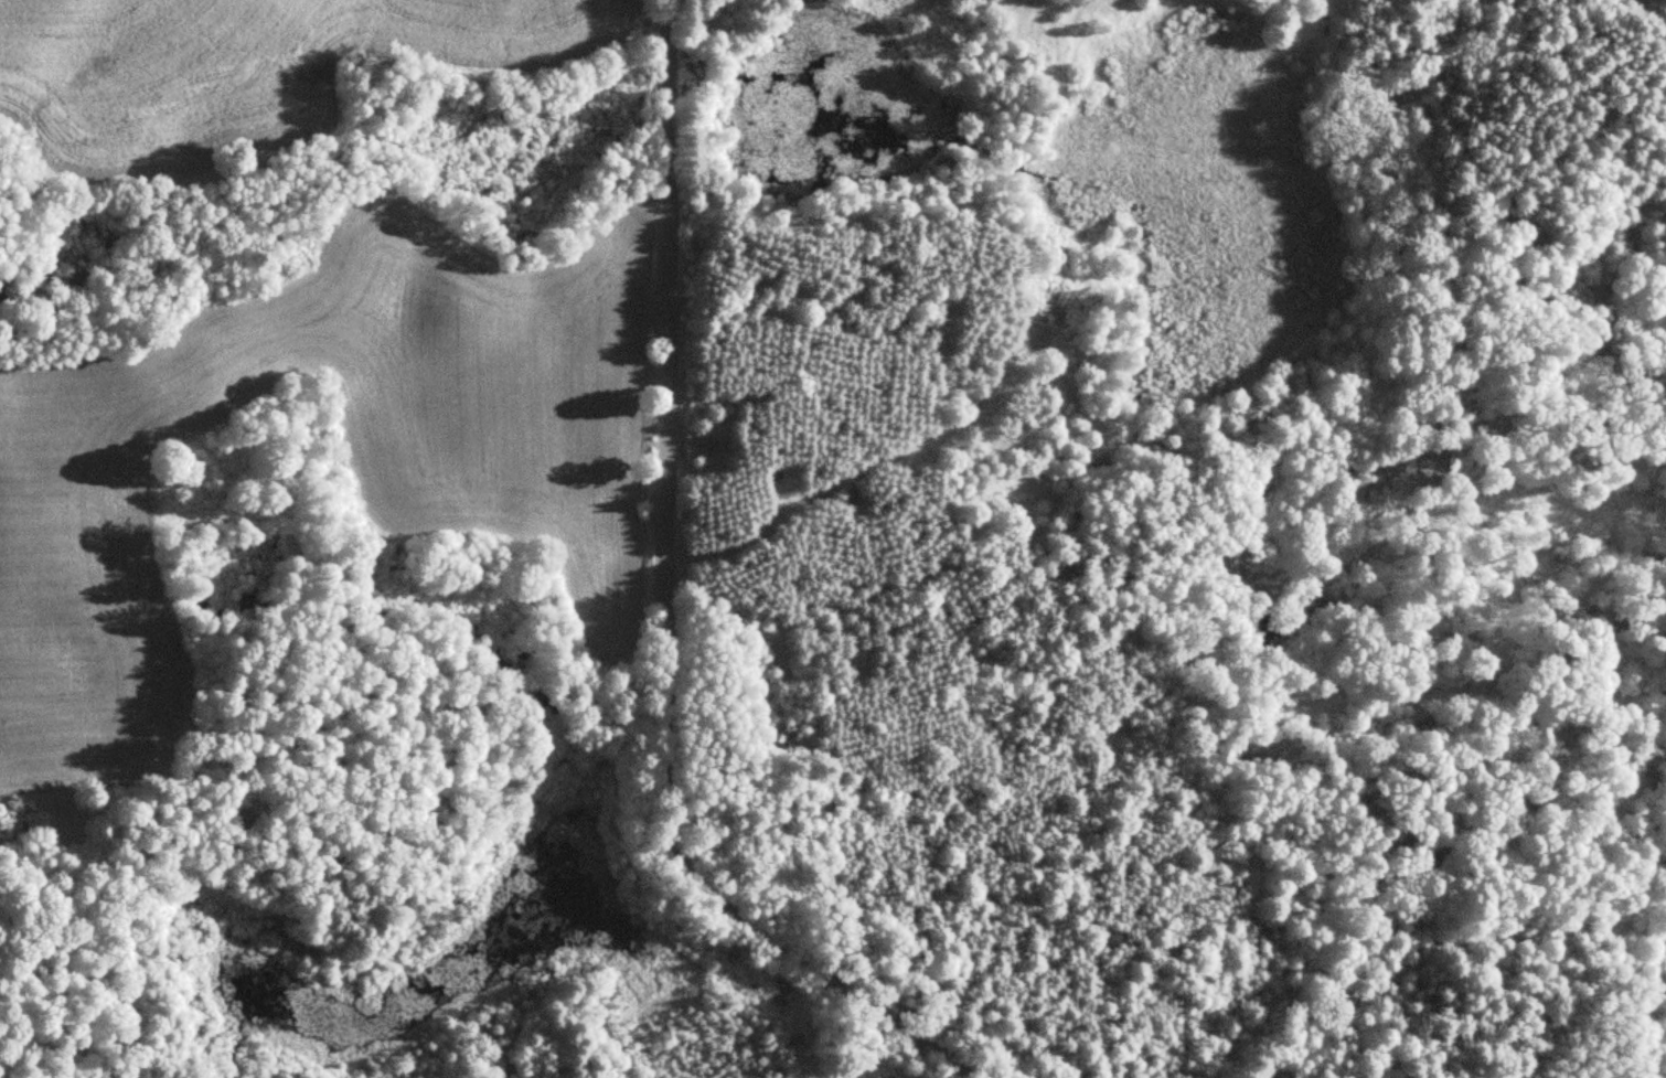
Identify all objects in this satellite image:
road: (664, 621)

